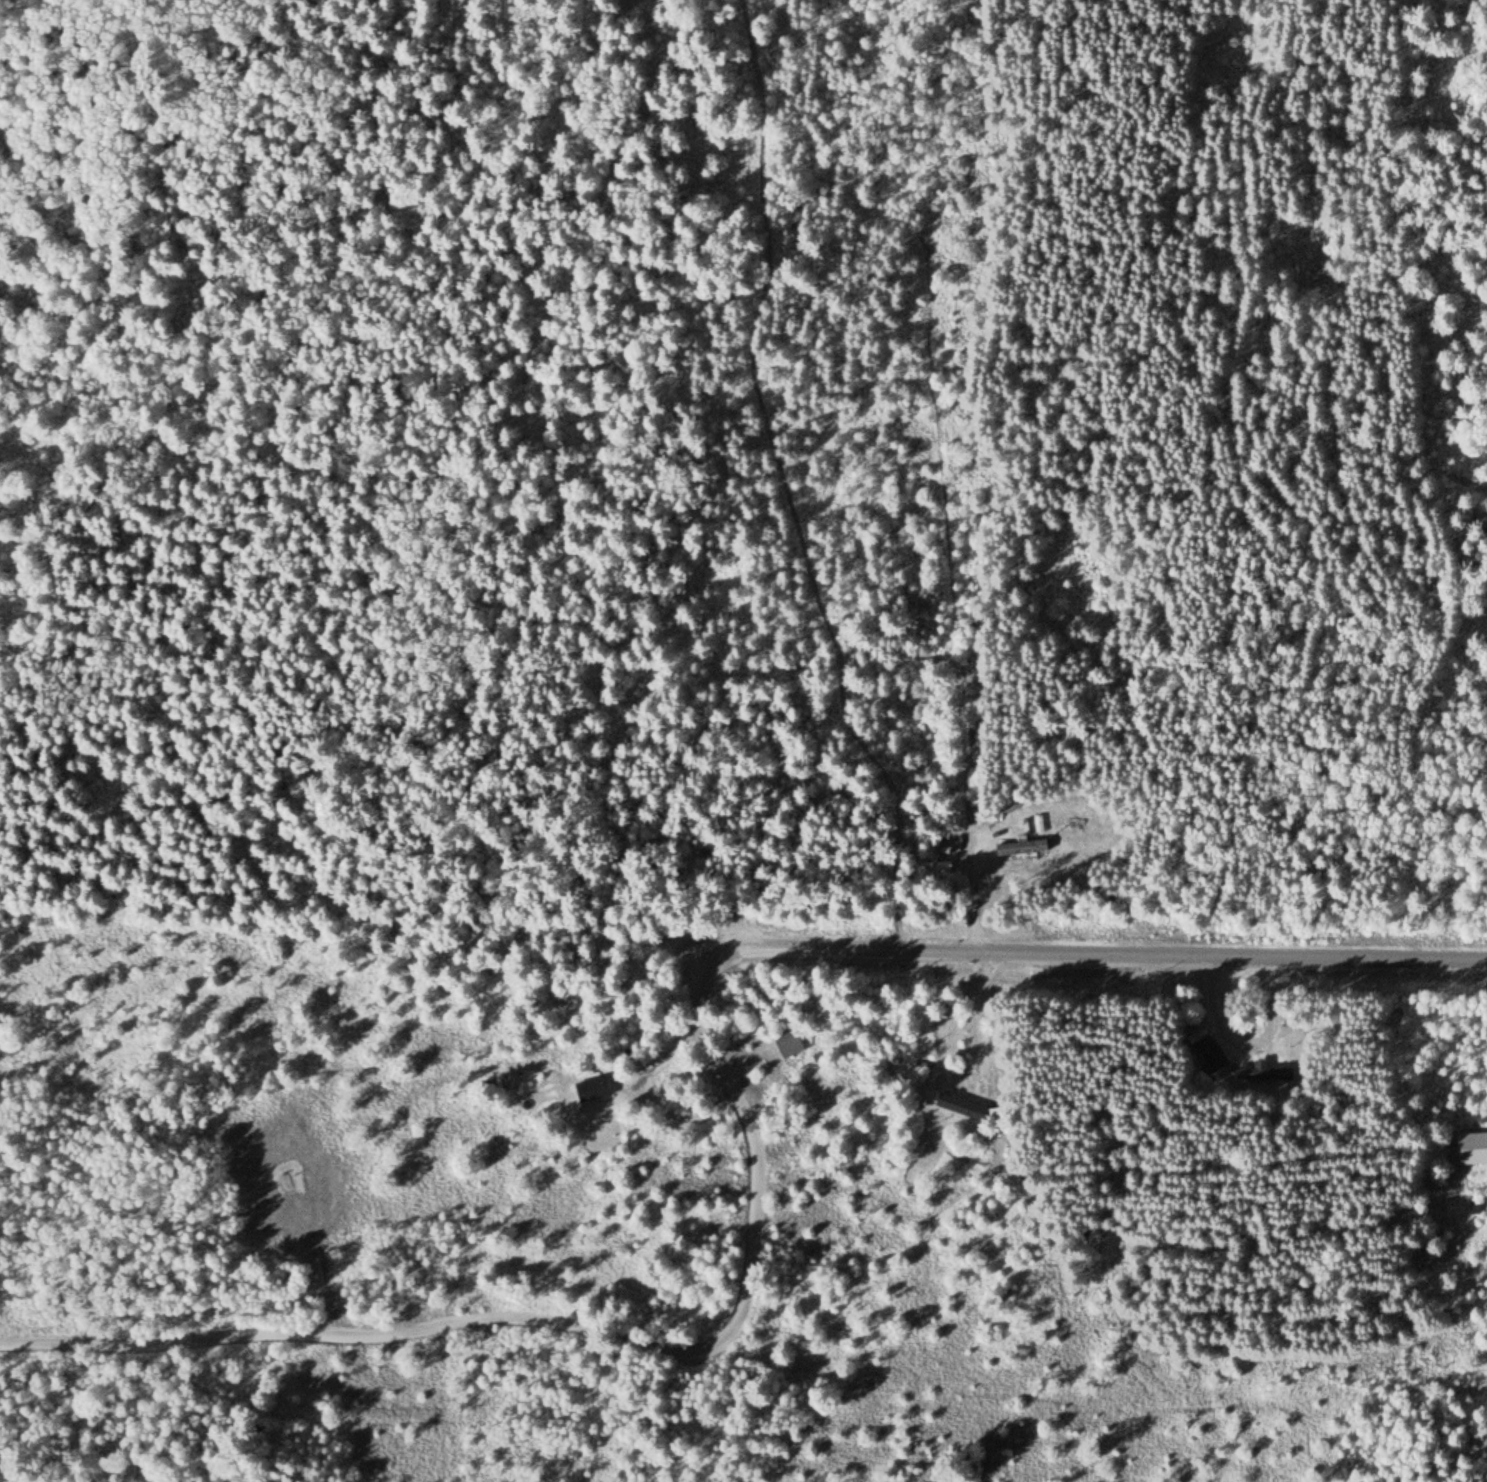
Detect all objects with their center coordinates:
road: (1104, 955)
building: (798, 1041)
building: (1210, 1056)
building: (1263, 1072)
building: (599, 1088)
petroleum well: (289, 1179)
road: (310, 1195)
building: (260, 1219)
road: (573, 1326)

